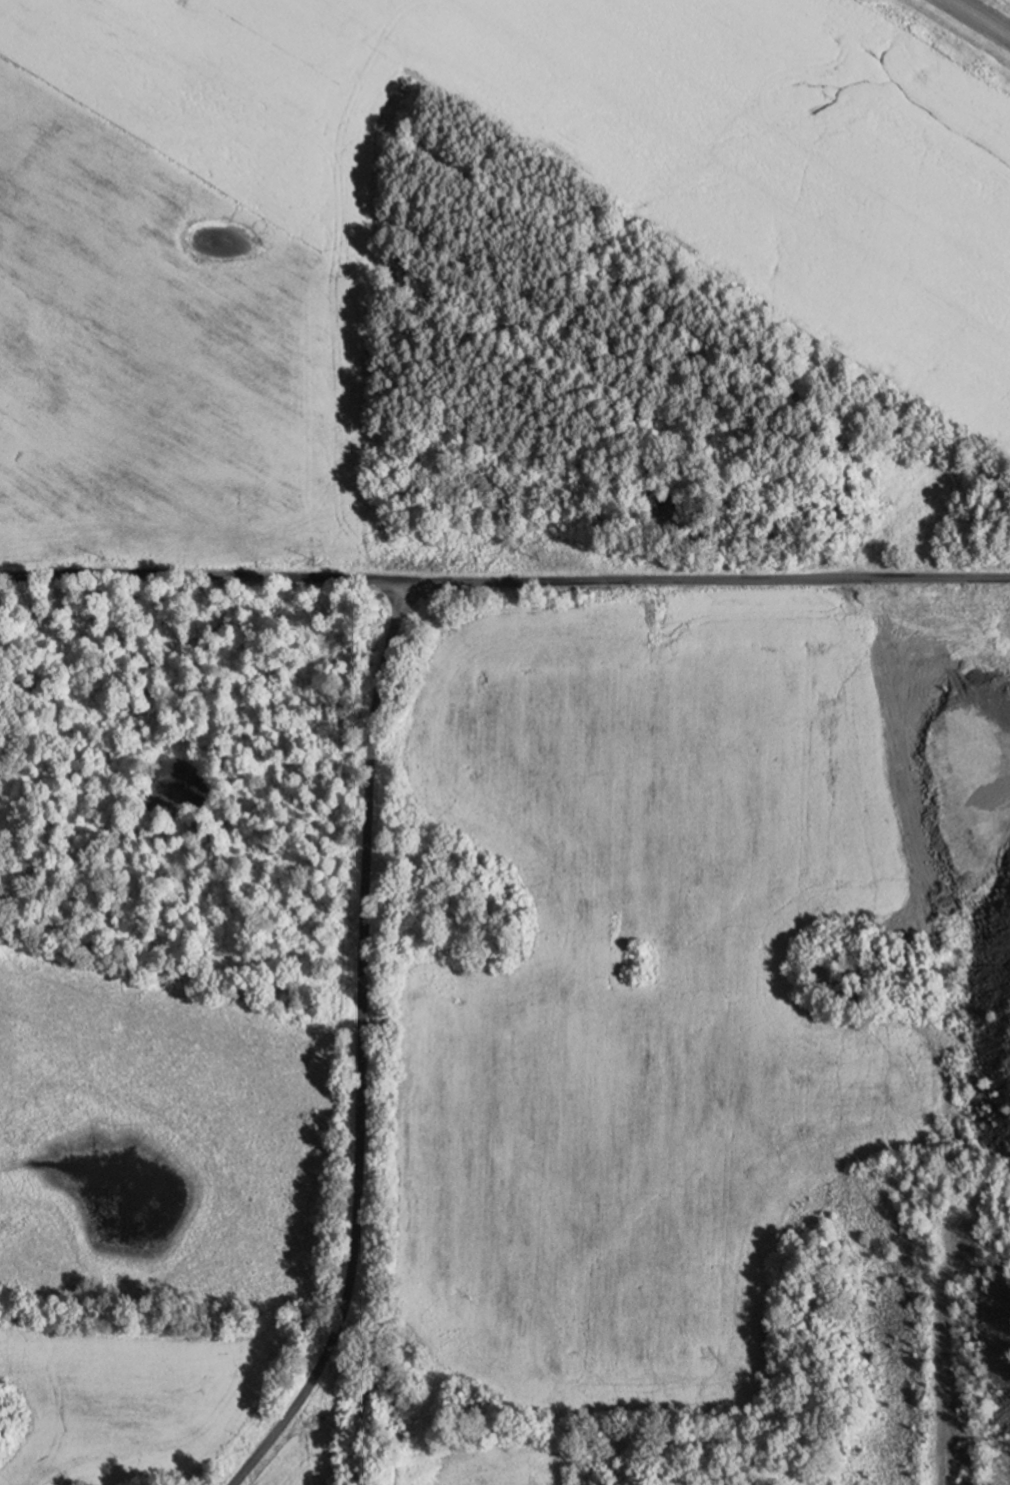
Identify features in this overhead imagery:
road: (983, 16)
road: (207, 573)
road: (712, 580)
road: (364, 1047)
road: (959, 1178)
quarry: (966, 1190)

